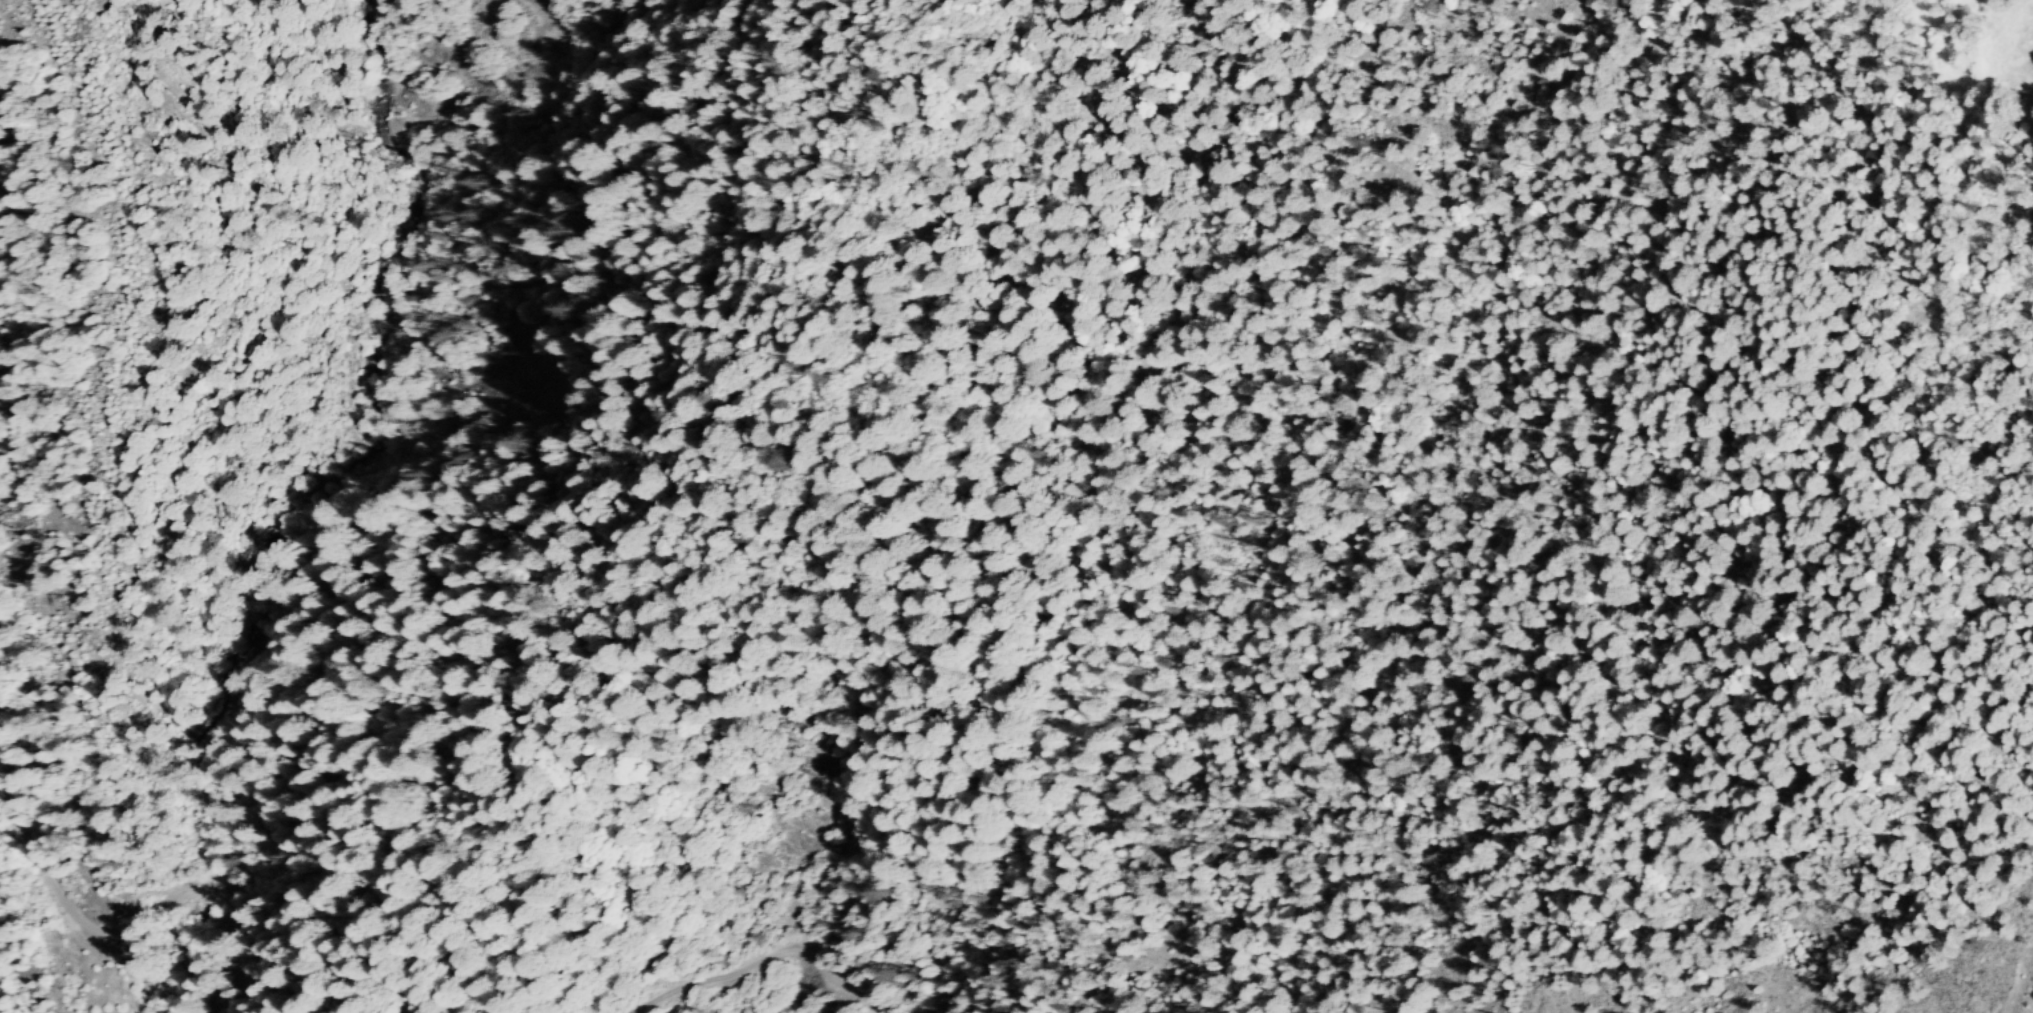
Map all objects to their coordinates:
road: (216, 901)
road: (74, 909)
road: (243, 956)
road: (764, 958)

